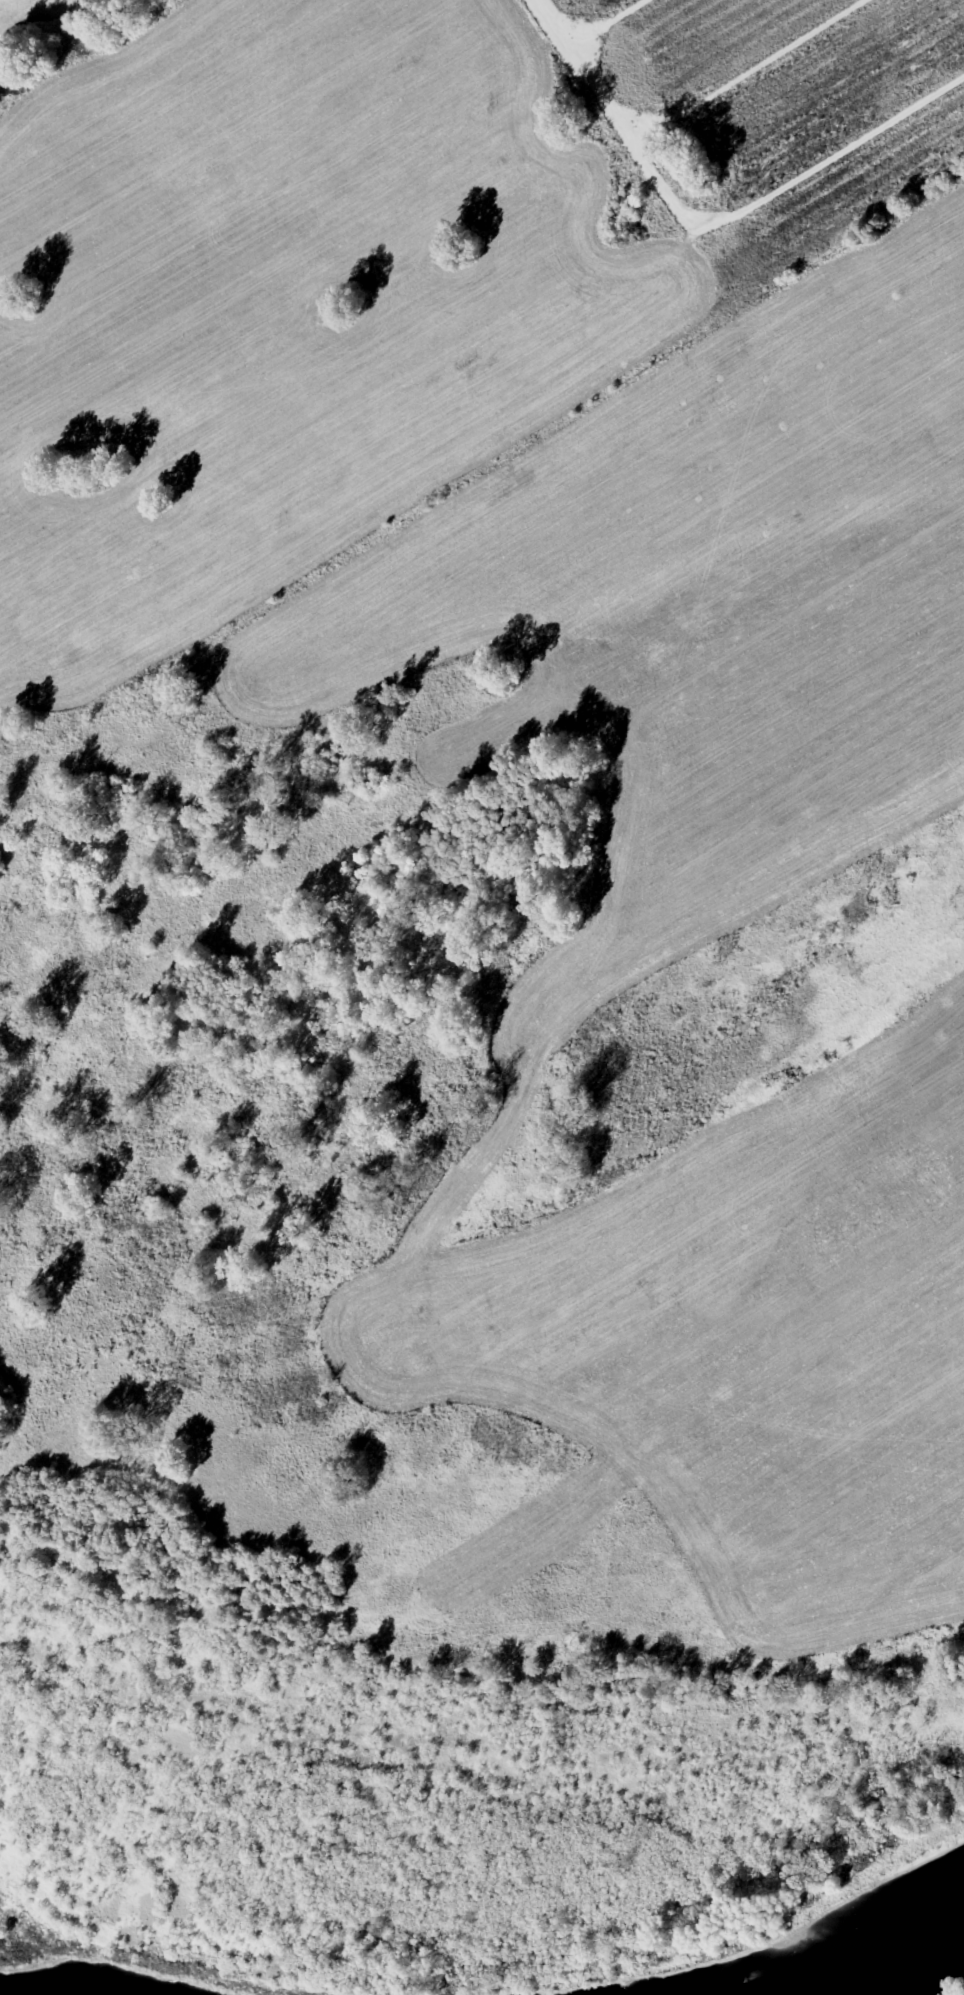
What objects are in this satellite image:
river: (866, 1943)
river: (44, 1981)

